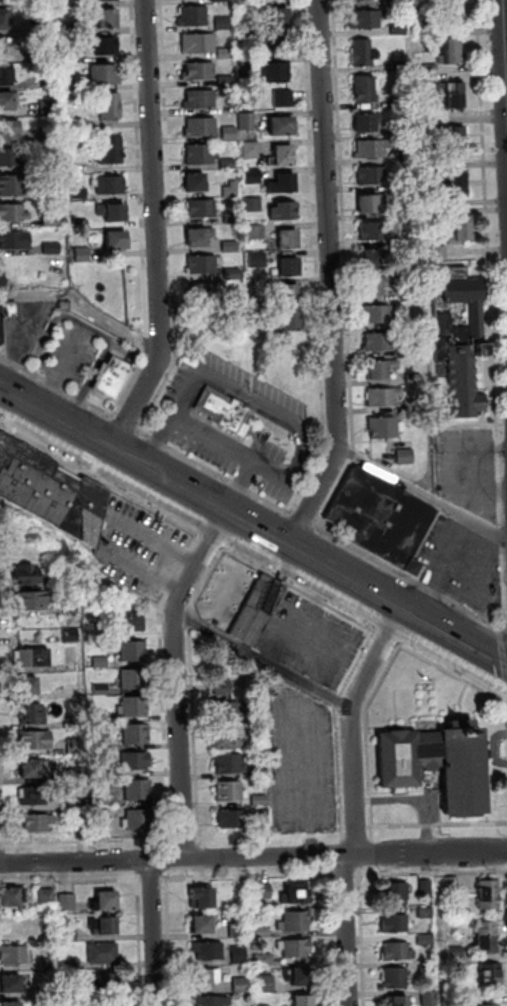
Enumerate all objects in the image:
building: (6, 0)
building: (105, 0)
building: (220, 0)
building: (361, 0)
building: (46, 2)
building: (399, 3)
building: (256, 8)
road: (506, 8)
building: (452, 10)
building: (194, 17)
building: (280, 17)
building: (4, 19)
building: (108, 19)
building: (367, 19)
building: (223, 23)
building: (430, 24)
building: (75, 29)
building: (400, 29)
building: (253, 35)
building: (199, 43)
building: (279, 45)
building: (105, 46)
building: (3, 48)
building: (452, 51)
building: (47, 53)
building: (226, 53)
building: (364, 53)
building: (75, 57)
building: (400, 66)
building: (431, 69)
building: (200, 72)
building: (276, 72)
building: (7, 74)
building: (106, 75)
building: (432, 79)
building: (49, 81)
building: (227, 81)
building: (77, 85)
building: (367, 89)
building: (455, 95)
building: (285, 99)
building: (200, 100)
building: (6, 101)
building: (402, 102)
building: (110, 106)
building: (49, 107)
building: (248, 121)
building: (366, 123)
building: (77, 126)
building: (284, 126)
building: (202, 127)
building: (9, 130)
building: (405, 130)
building: (230, 134)
building: (53, 136)
building: (456, 140)
building: (373, 149)
building: (252, 150)
building: (112, 151)
building: (201, 155)
building: (285, 156)
building: (406, 157)
building: (11, 158)
building: (229, 163)
building: (253, 176)
building: (374, 176)
building: (196, 183)
building: (284, 184)
building: (459, 184)
building: (12, 185)
building: (112, 186)
building: (235, 189)
building: (53, 193)
building: (80, 193)
building: (253, 205)
building: (374, 205)
building: (202, 208)
building: (114, 212)
building: (283, 212)
road: (143, 213)
building: (440, 213)
building: (13, 214)
building: (232, 218)
road: (172, 220)
building: (52, 221)
building: (81, 224)
building: (462, 229)
building: (257, 232)
building: (376, 232)
road: (159, 233)
building: (200, 237)
building: (15, 240)
building: (289, 240)
road: (489, 240)
building: (118, 241)
building: (78, 244)
building: (230, 247)
building: (53, 248)
building: (440, 252)
building: (83, 254)
building: (258, 260)
road: (318, 260)
building: (373, 260)
building: (203, 264)
building: (291, 268)
road: (346, 268)
building: (411, 269)
building: (233, 273)
road: (333, 281)
building: (374, 287)
building: (259, 288)
building: (204, 292)
building: (412, 292)
building: (290, 294)
building: (235, 298)
building: (260, 314)
building: (378, 314)
building: (7, 315)
parking lot: (31, 320)
building: (292, 322)
building: (413, 323)
road: (49, 336)
road: (20, 337)
building: (459, 338)
building: (382, 341)
building: (411, 351)
parking lot: (75, 353)
building: (382, 369)
road: (64, 370)
road: (97, 373)
building: (114, 378)
building: (415, 379)
road: (58, 387)
building: (385, 397)
road: (254, 400)
building: (415, 406)
building: (226, 411)
road: (172, 422)
road: (128, 424)
building: (385, 428)
road: (214, 440)
road: (467, 443)
parking lot: (473, 450)
building: (407, 456)
road: (267, 468)
road: (216, 472)
road: (99, 481)
road: (464, 488)
road: (501, 491)
road: (424, 493)
building: (51, 494)
road: (205, 506)
road: (502, 514)
road: (304, 519)
building: (381, 520)
road: (502, 537)
road: (211, 542)
road: (447, 552)
building: (103, 555)
parking lot: (459, 561)
road: (505, 569)
building: (27, 575)
road: (409, 579)
road: (207, 581)
road: (472, 581)
road: (300, 590)
building: (31, 602)
building: (71, 607)
building: (260, 609)
road: (191, 620)
building: (130, 622)
road: (429, 627)
road: (506, 627)
road: (506, 629)
building: (73, 637)
road: (389, 638)
building: (134, 652)
road: (478, 653)
road: (503, 657)
building: (33, 659)
road: (265, 660)
building: (101, 661)
road: (455, 673)
building: (136, 679)
road: (178, 681)
building: (225, 687)
building: (29, 688)
building: (103, 690)
building: (74, 691)
building: (135, 706)
building: (231, 711)
building: (36, 715)
road: (367, 715)
building: (103, 717)
building: (75, 722)
road: (338, 728)
road: (196, 733)
building: (137, 734)
building: (37, 741)
building: (227, 741)
building: (105, 745)
building: (76, 746)
parking lot: (302, 759)
building: (137, 761)
building: (232, 763)
building: (35, 770)
building: (107, 771)
building: (261, 772)
building: (461, 774)
building: (139, 791)
building: (232, 792)
building: (34, 795)
building: (262, 800)
road: (371, 800)
road: (417, 800)
road: (359, 805)
building: (265, 814)
building: (234, 819)
building: (81, 821)
building: (139, 821)
road: (371, 822)
building: (39, 824)
road: (439, 825)
road: (357, 830)
road: (272, 836)
road: (253, 857)
road: (433, 872)
building: (453, 885)
building: (426, 888)
building: (241, 891)
building: (264, 892)
building: (397, 893)
building: (296, 895)
building: (489, 896)
building: (48, 897)
building: (12, 898)
building: (203, 899)
building: (68, 903)
building: (106, 903)
building: (426, 914)
building: (296, 922)
building: (395, 924)
building: (203, 926)
building: (106, 927)
building: (240, 930)
building: (69, 932)
building: (263, 932)
road: (157, 933)
building: (487, 936)
building: (426, 940)
building: (297, 948)
building: (210, 951)
building: (457, 952)
building: (398, 953)
building: (104, 954)
building: (16, 955)
building: (240, 955)
building: (265, 959)
building: (49, 964)
building: (72, 964)
building: (428, 968)
building: (301, 977)
building: (492, 977)
building: (206, 978)
building: (396, 979)
building: (108, 984)
building: (267, 984)
building: (242, 985)
building: (11, 986)
building: (71, 990)
building: (51, 991)
building: (429, 999)
building: (213, 1001)
building: (304, 1001)
building: (398, 1002)
building: (487, 1003)
building: (12, 1004)
building: (268, 1005)

